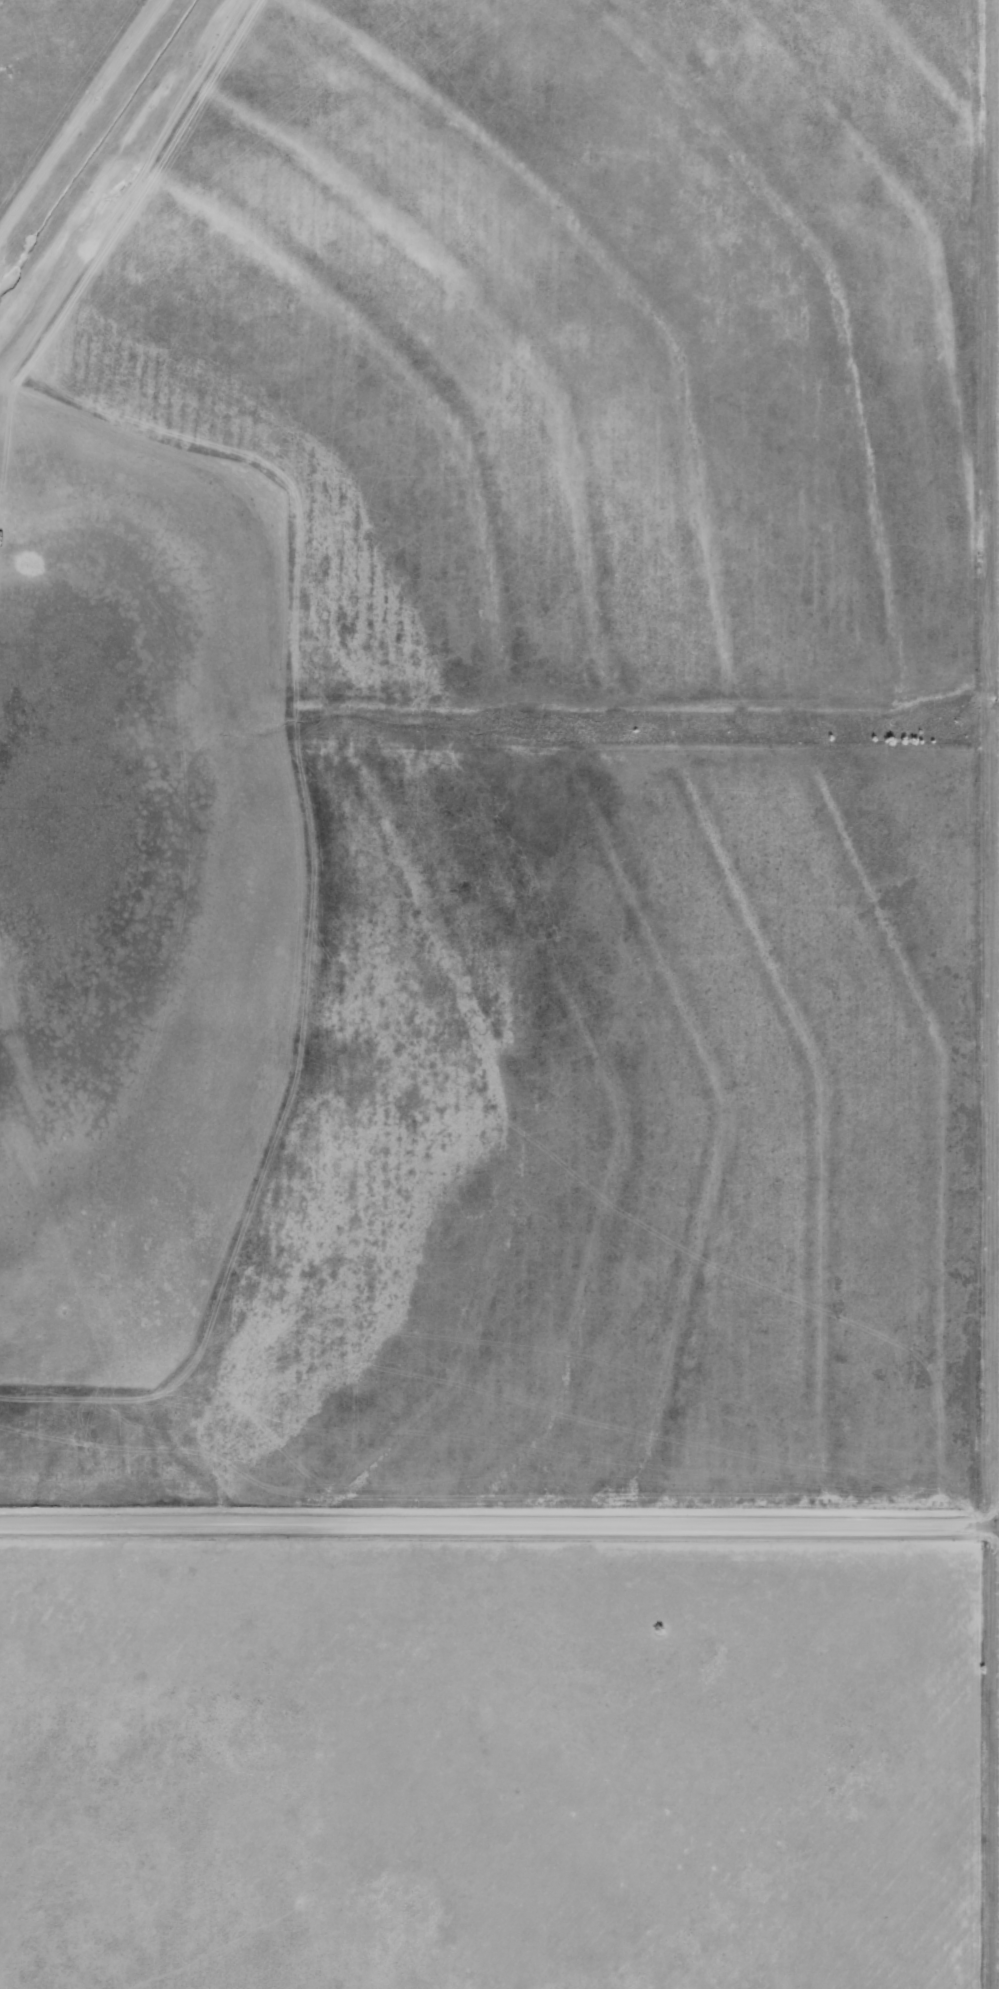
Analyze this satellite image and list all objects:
road: (499, 1537)

